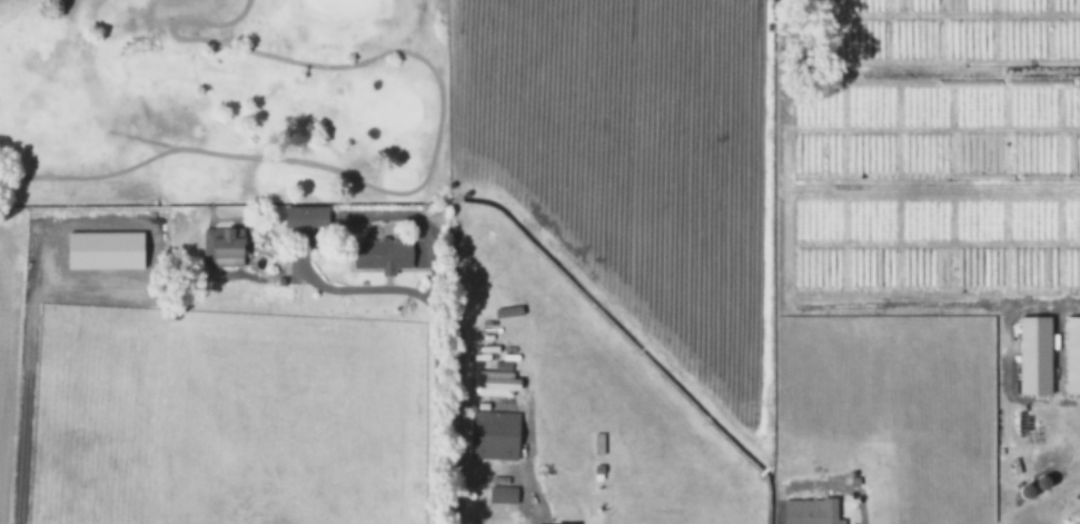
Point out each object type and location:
road: (433, 159)
building: (304, 218)
building: (221, 248)
building: (380, 256)
crop: (765, 263)
building: (1033, 357)
building: (1071, 357)
road: (28, 376)
building: (494, 384)
building: (493, 436)
building: (502, 496)
building: (810, 512)

